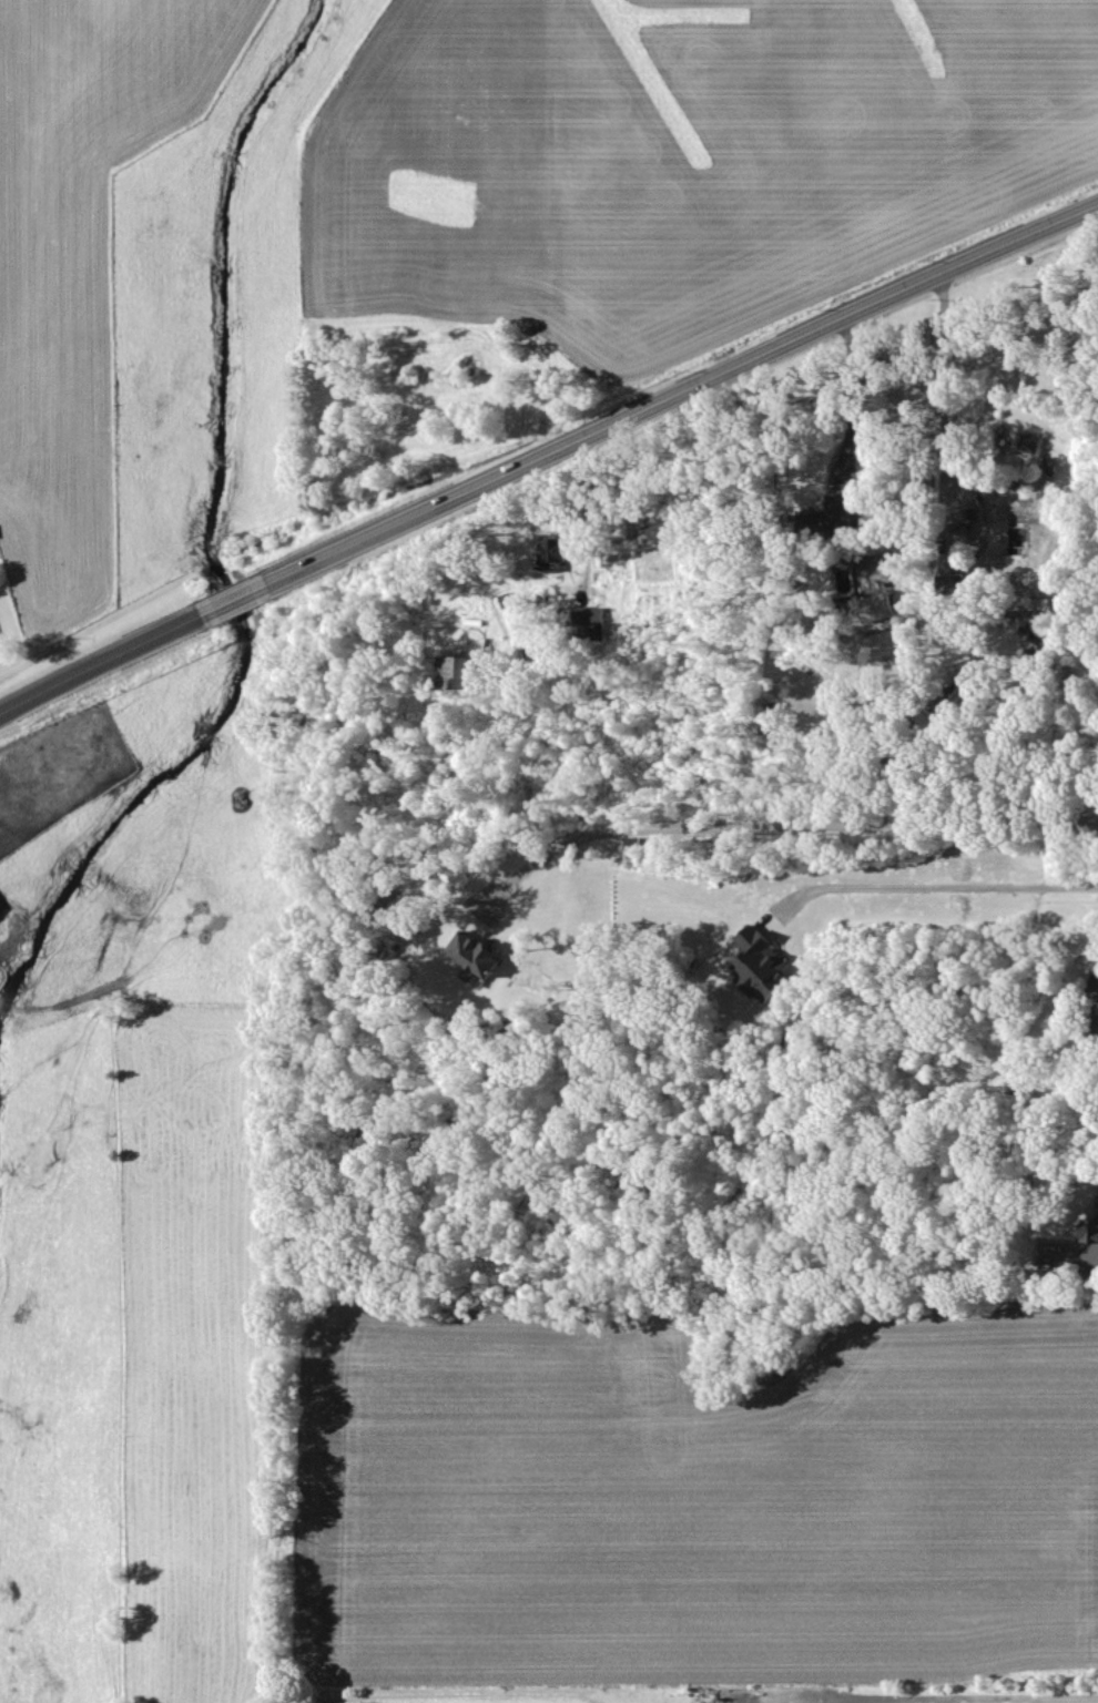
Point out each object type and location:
road: (851, 396)
road: (942, 409)
road: (547, 455)
building: (832, 520)
building: (558, 555)
building: (596, 623)
building: (459, 676)
road: (792, 827)
road: (929, 887)
building: (1, 912)
building: (481, 958)
building: (765, 969)
building: (1097, 997)
building: (1094, 1232)
road: (980, 1699)

